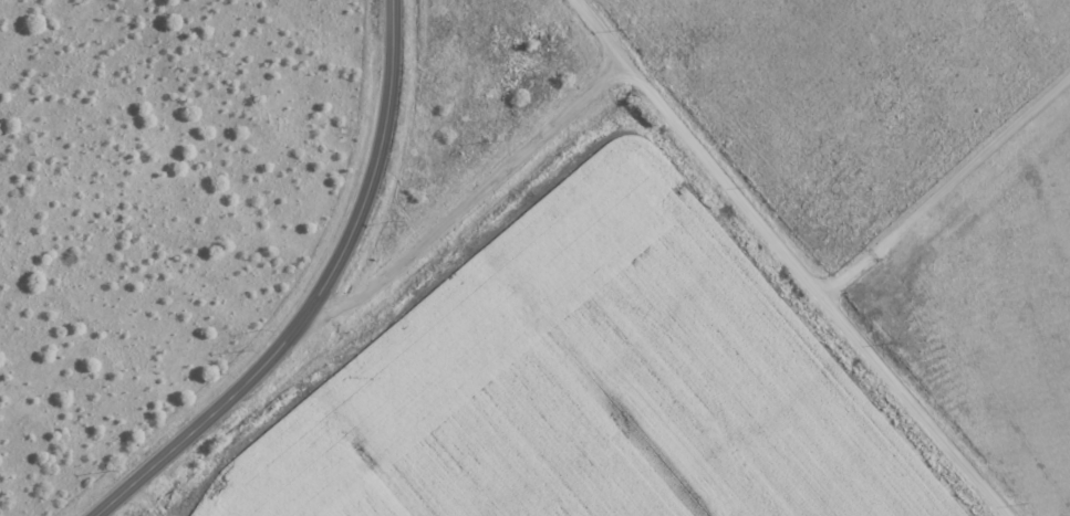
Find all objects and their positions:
road: (945, 181)
road: (475, 198)
road: (793, 259)
road: (320, 298)

